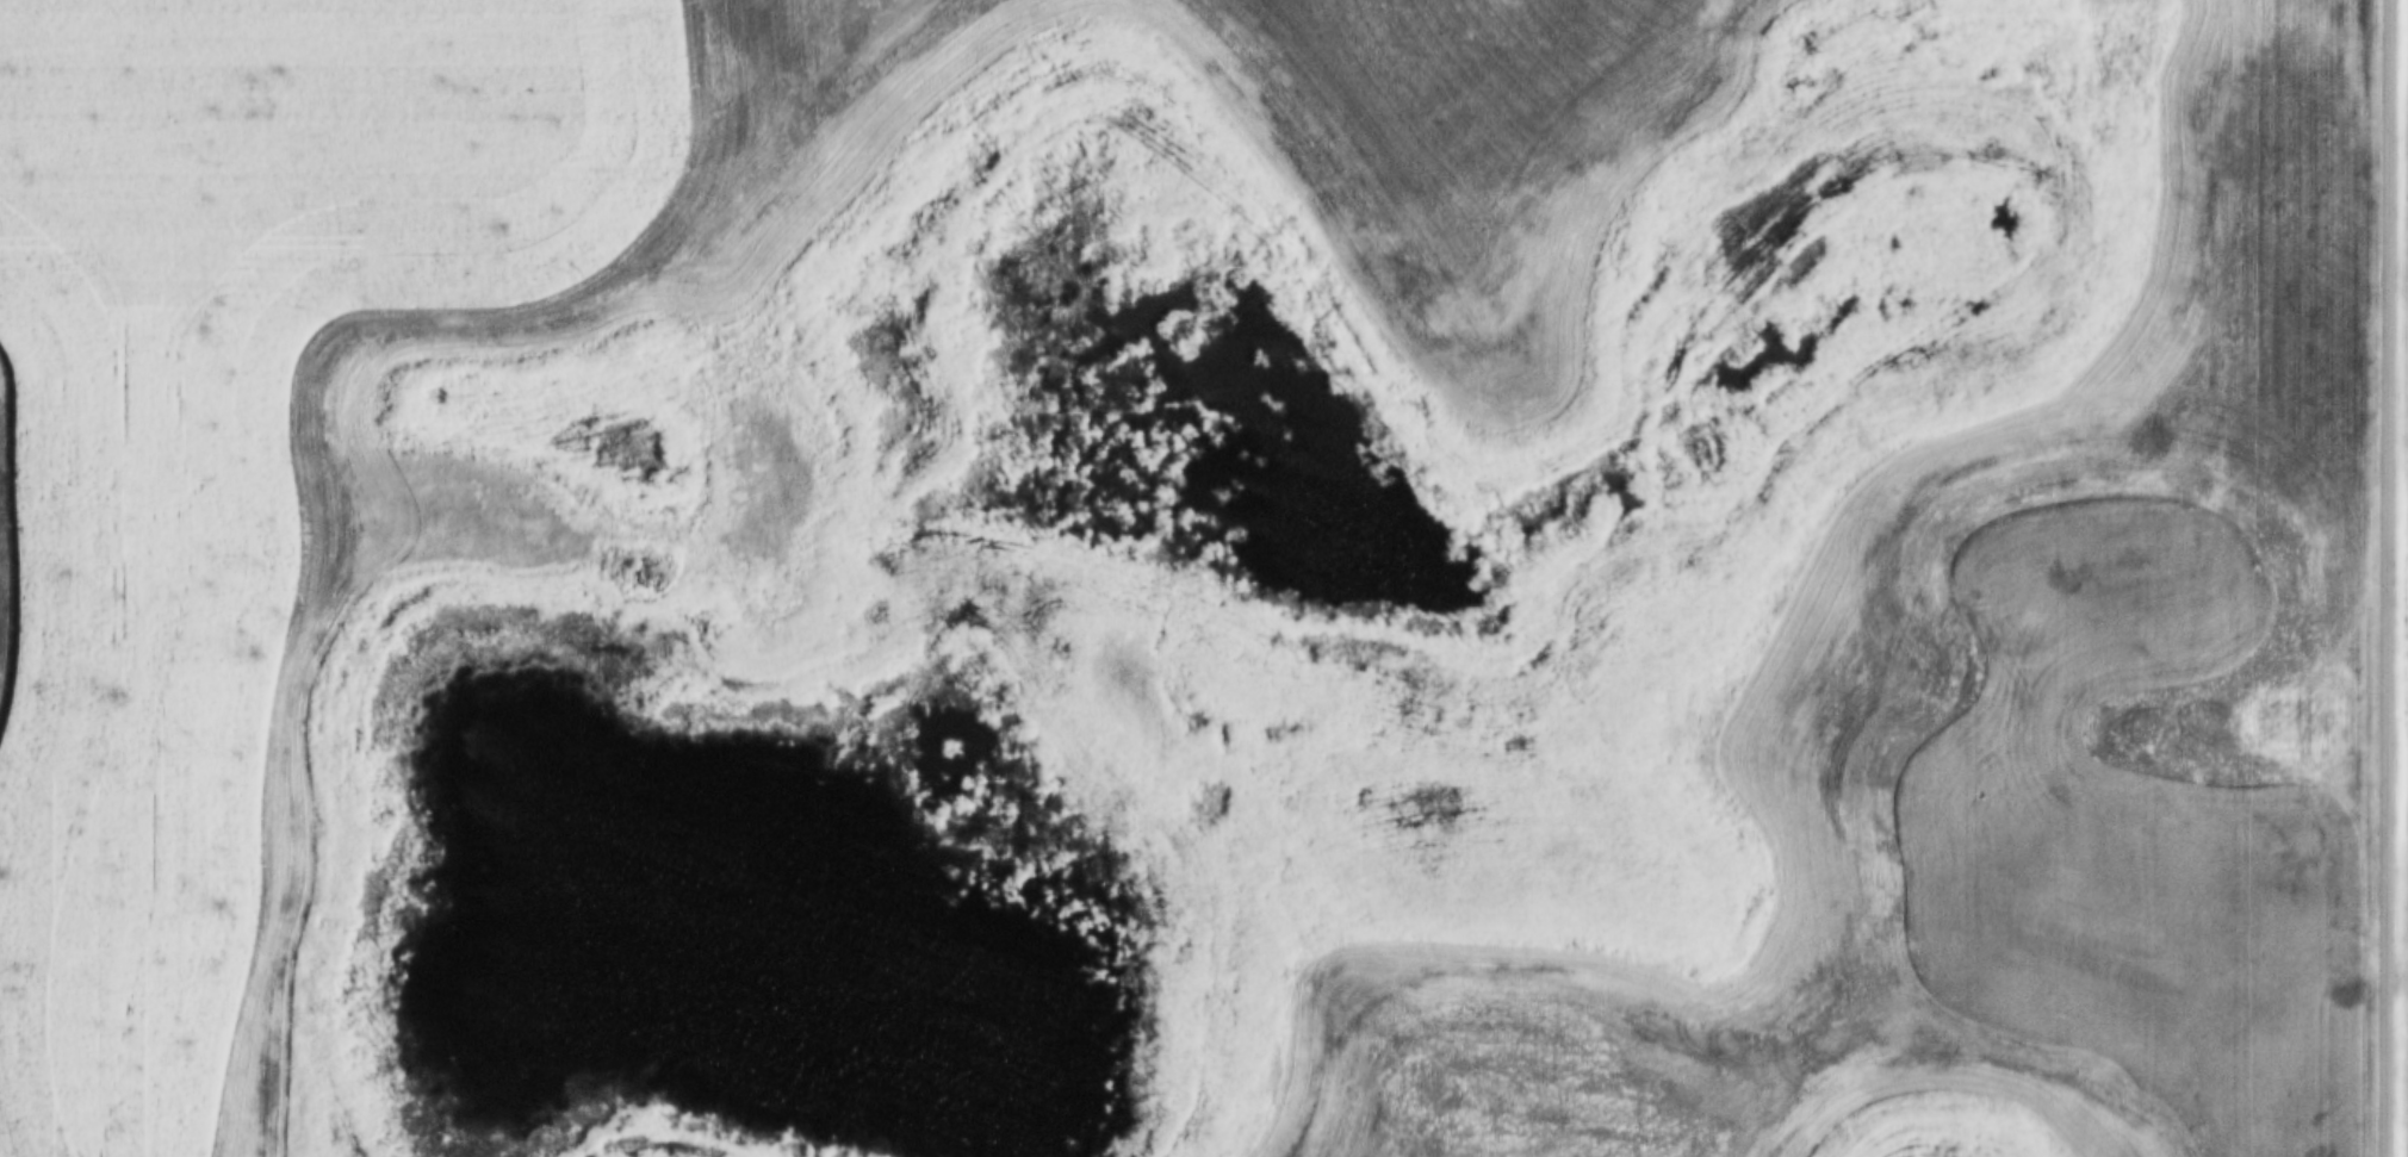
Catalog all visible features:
road: (2390, 578)

